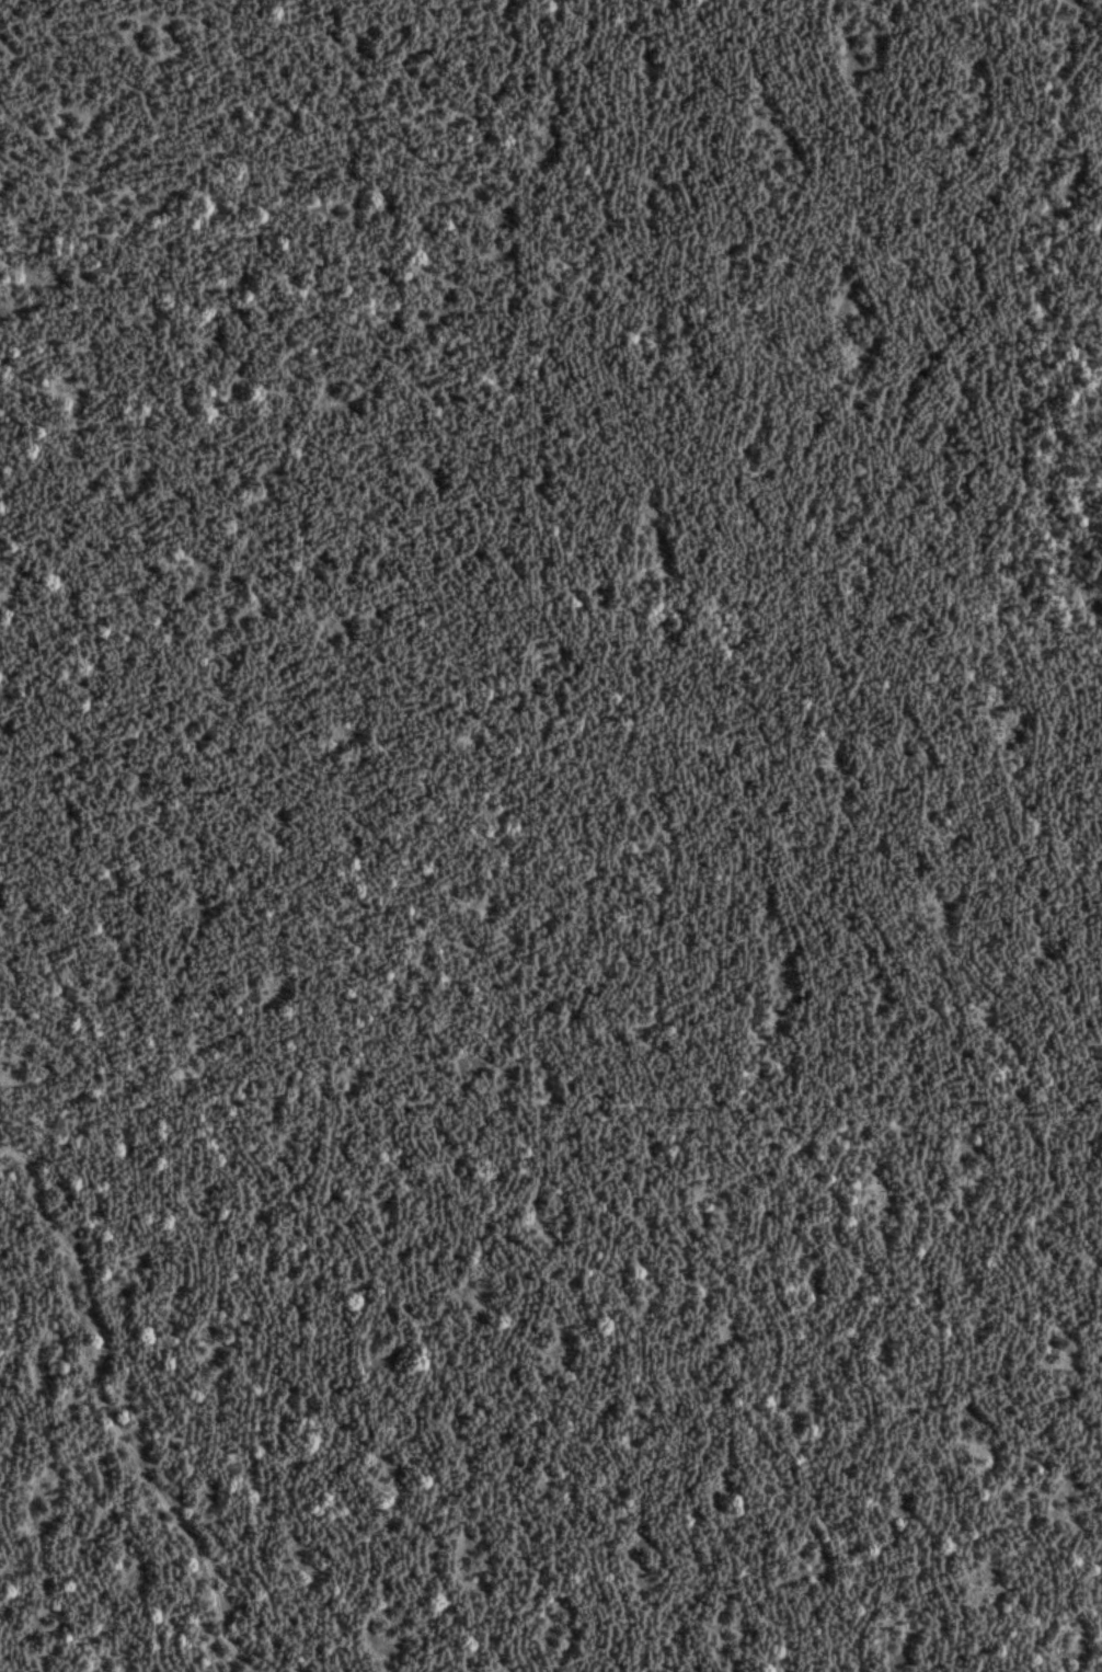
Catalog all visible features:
road: (108, 1417)

